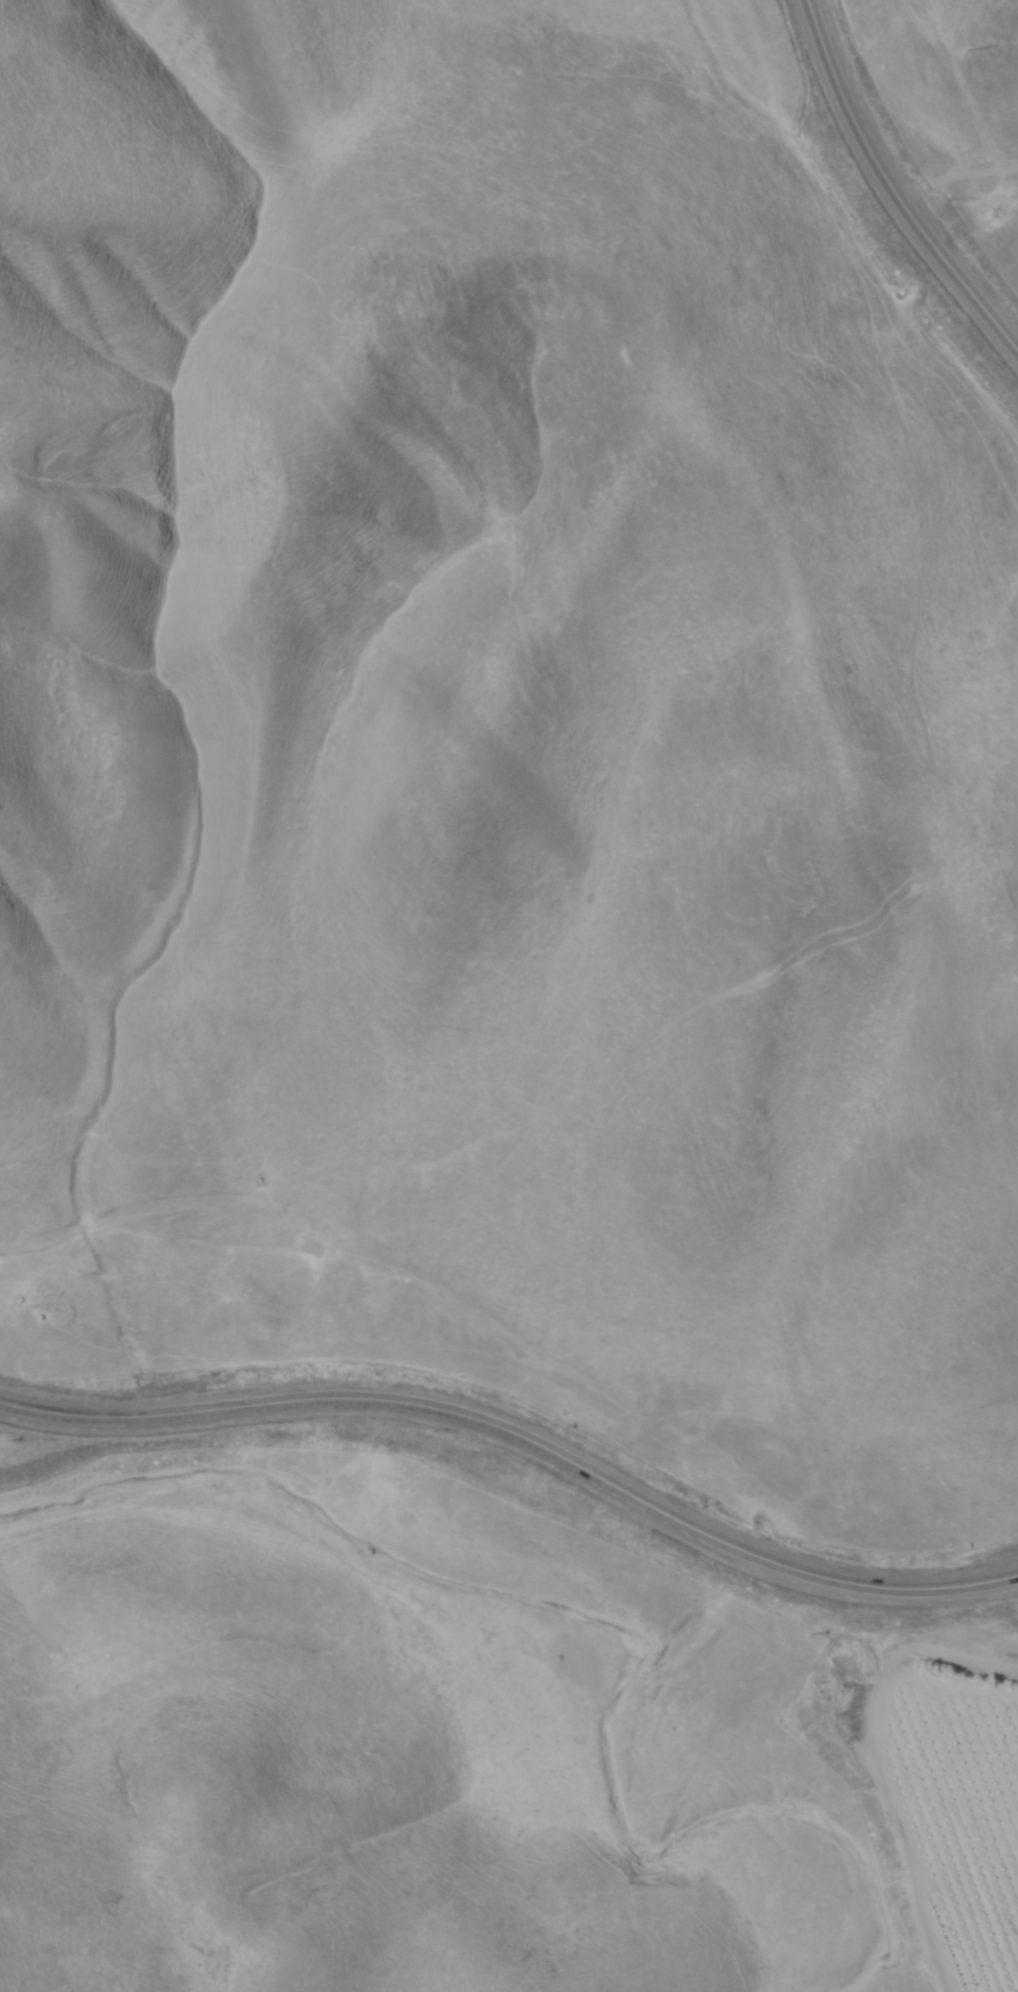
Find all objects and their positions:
road: (959, 187)
road: (891, 188)
road: (527, 1418)
road: (948, 1691)
road: (880, 1769)

